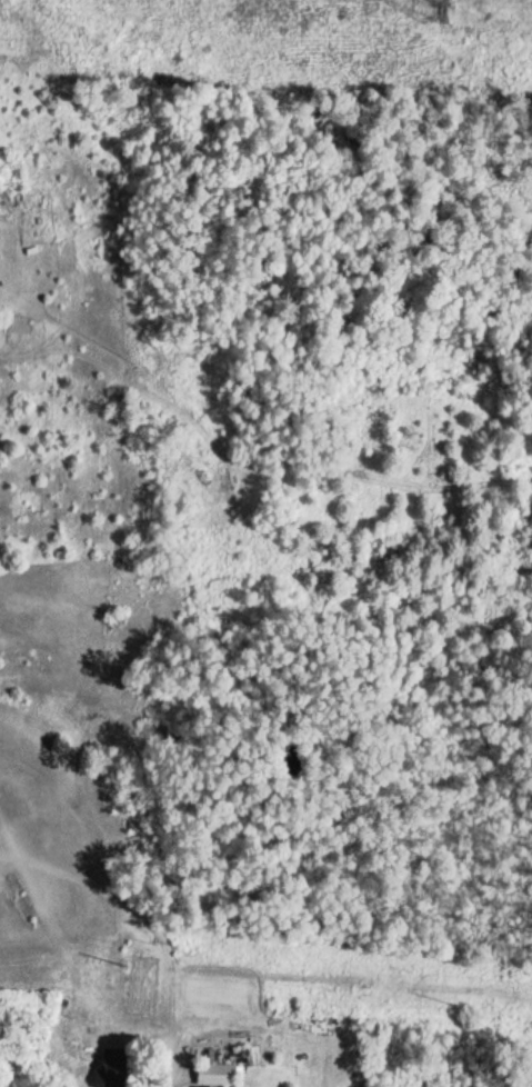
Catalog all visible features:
power tower: (426, 7)
road: (153, 1050)
building: (114, 1069)
building: (222, 1075)

